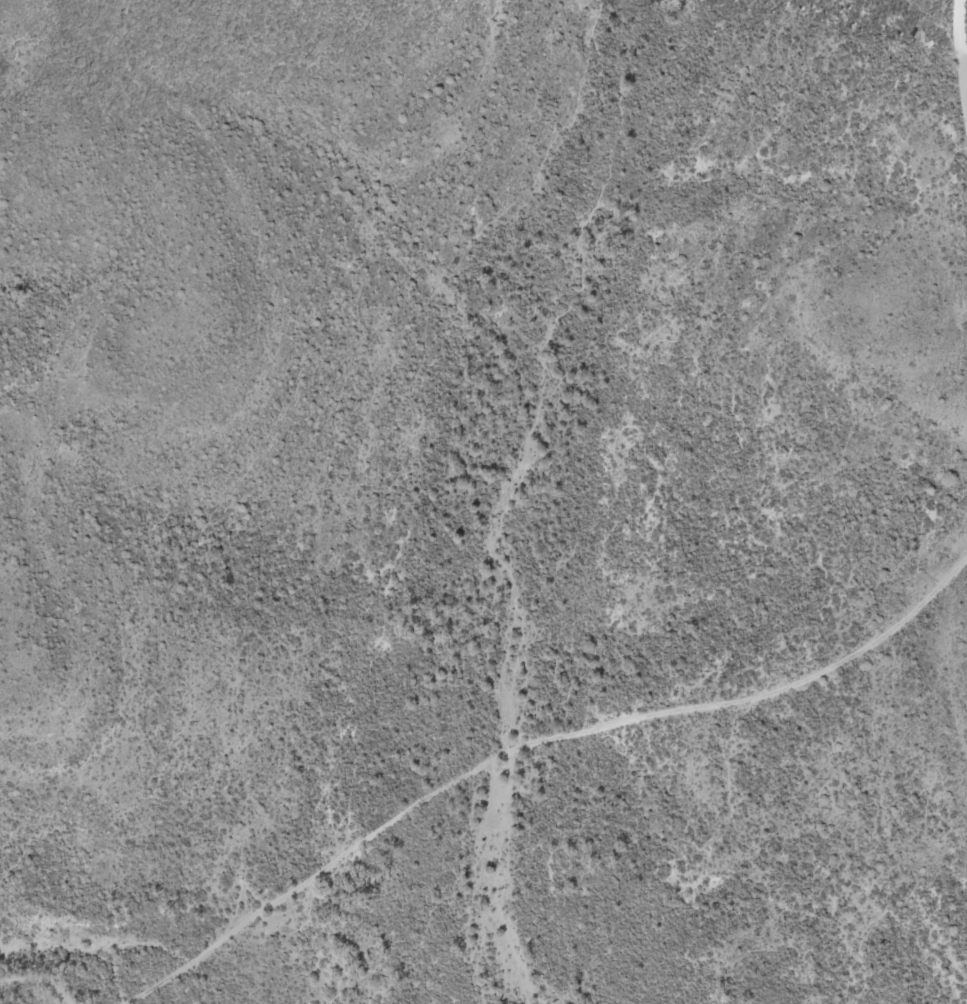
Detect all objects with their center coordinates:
road: (528, 746)
road: (43, 984)

